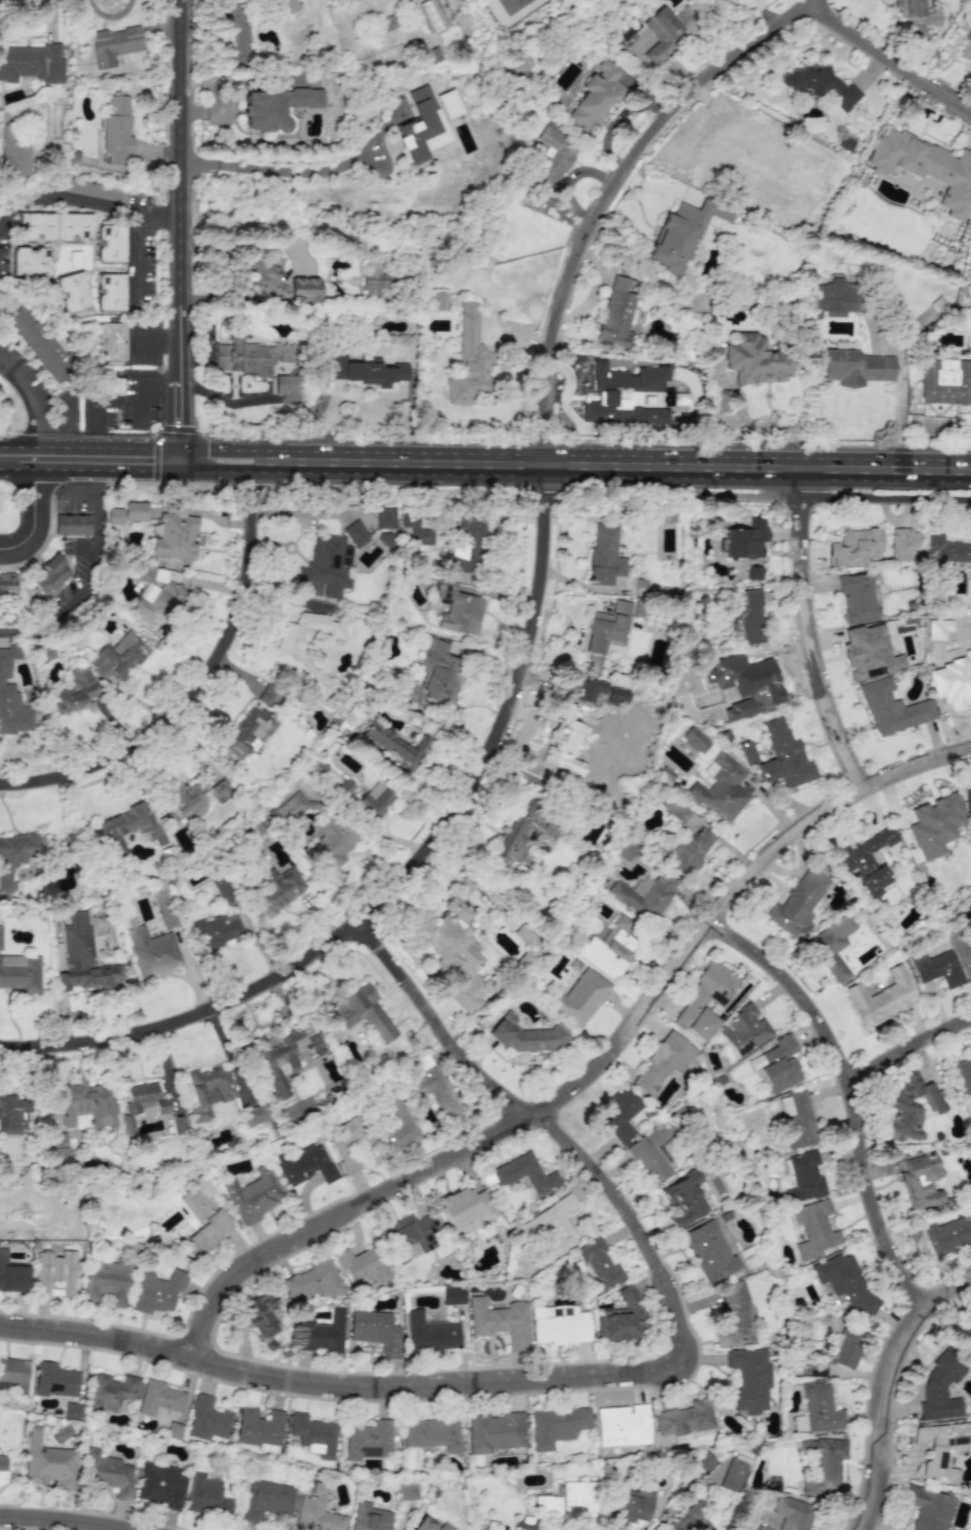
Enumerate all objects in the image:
road: (4, 0)
building: (461, 0)
building: (351, 1)
building: (288, 6)
building: (432, 14)
road: (111, 16)
building: (388, 22)
building: (235, 32)
building: (654, 34)
building: (113, 44)
building: (966, 48)
road: (886, 61)
building: (31, 63)
building: (820, 85)
building: (596, 95)
building: (448, 103)
building: (274, 107)
building: (420, 126)
building: (116, 130)
building: (717, 140)
building: (15, 150)
building: (553, 157)
building: (926, 167)
road: (296, 170)
building: (92, 189)
road: (181, 193)
road: (68, 197)
building: (800, 205)
building: (54, 226)
building: (681, 234)
road: (137, 235)
road: (247, 242)
building: (114, 244)
park: (73, 259)
building: (31, 261)
building: (266, 276)
building: (373, 277)
building: (110, 290)
building: (72, 291)
building: (837, 298)
building: (439, 301)
building: (617, 312)
road: (155, 340)
building: (111, 343)
building: (39, 344)
building: (249, 355)
building: (469, 360)
building: (756, 360)
building: (856, 368)
building: (367, 371)
building: (946, 382)
building: (107, 386)
road: (155, 386)
building: (287, 387)
building: (624, 396)
road: (32, 399)
building: (722, 400)
road: (97, 402)
road: (141, 411)
road: (180, 417)
road: (20, 447)
road: (110, 448)
road: (223, 449)
road: (180, 458)
road: (17, 467)
road: (67, 467)
road: (140, 467)
road: (222, 468)
road: (617, 468)
building: (128, 513)
building: (385, 518)
road: (33, 519)
building: (71, 523)
building: (415, 532)
building: (356, 533)
building: (175, 537)
building: (745, 540)
building: (902, 543)
building: (855, 547)
building: (947, 550)
building: (605, 555)
building: (327, 565)
building: (146, 572)
building: (754, 573)
building: (48, 576)
road: (97, 581)
building: (7, 584)
building: (970, 589)
building: (858, 598)
building: (160, 604)
building: (458, 611)
building: (748, 616)
road: (535, 628)
building: (607, 631)
road: (817, 633)
building: (934, 634)
building: (869, 653)
building: (118, 657)
building: (290, 658)
building: (434, 676)
road: (196, 686)
building: (77, 690)
building: (11, 695)
building: (892, 708)
building: (568, 731)
building: (249, 732)
building: (694, 740)
building: (394, 745)
building: (747, 752)
building: (783, 757)
building: (720, 789)
building: (186, 797)
building: (373, 801)
building: (967, 801)
building: (289, 808)
building: (676, 810)
building: (935, 825)
building: (127, 827)
building: (524, 830)
building: (332, 842)
building: (625, 849)
building: (690, 852)
building: (14, 861)
building: (867, 861)
building: (224, 888)
building: (278, 890)
building: (644, 896)
building: (797, 904)
building: (218, 930)
building: (832, 947)
building: (608, 948)
building: (152, 951)
building: (456, 952)
building: (962, 952)
building: (83, 958)
building: (936, 967)
building: (19, 971)
building: (579, 997)
building: (881, 998)
building: (705, 1000)
building: (363, 1012)
building: (746, 1030)
building: (527, 1035)
road: (911, 1043)
road: (226, 1053)
building: (284, 1058)
building: (663, 1062)
road: (596, 1064)
building: (780, 1064)
road: (166, 1066)
building: (963, 1075)
road: (857, 1087)
building: (209, 1090)
building: (436, 1091)
building: (83, 1104)
building: (910, 1107)
building: (13, 1114)
building: (620, 1114)
building: (255, 1115)
building: (797, 1119)
road: (556, 1120)
building: (398, 1126)
building: (349, 1143)
building: (59, 1147)
building: (306, 1164)
building: (525, 1174)
building: (804, 1177)
building: (919, 1179)
building: (253, 1195)
building: (682, 1199)
building: (465, 1209)
building: (203, 1221)
building: (814, 1229)
building: (947, 1235)
building: (408, 1236)
building: (708, 1251)
building: (362, 1265)
building: (598, 1265)
building: (55, 1274)
building: (12, 1275)
building: (312, 1282)
building: (845, 1282)
building: (105, 1283)
building: (157, 1292)
building: (452, 1295)
building: (260, 1314)
building: (733, 1315)
building: (620, 1317)
building: (499, 1321)
building: (559, 1325)
building: (375, 1331)
building: (321, 1334)
building: (430, 1334)
building: (967, 1335)
building: (845, 1347)
building: (13, 1375)
building: (749, 1379)
building: (55, 1380)
road: (341, 1383)
road: (886, 1386)
building: (941, 1386)
building: (110, 1391)
building: (159, 1400)
building: (820, 1407)
building: (207, 1420)
building: (684, 1420)
building: (799, 1423)
building: (622, 1425)
building: (556, 1426)
building: (257, 1427)
building: (495, 1432)
building: (432, 1433)
building: (313, 1435)
building: (367, 1440)
building: (942, 1449)
building: (704, 1461)
building: (47, 1463)
building: (822, 1466)
building: (2, 1471)
building: (108, 1473)
building: (733, 1475)
building: (159, 1485)
building: (407, 1490)
building: (206, 1496)
building: (267, 1500)
building: (579, 1501)
building: (547, 1505)
building: (631, 1505)
building: (929, 1508)
building: (317, 1512)
building: (793, 1513)
building: (370, 1517)
road: (76, 1520)
building: (691, 1520)
building: (526, 1523)
building: (430, 1525)
building: (761, 1528)

